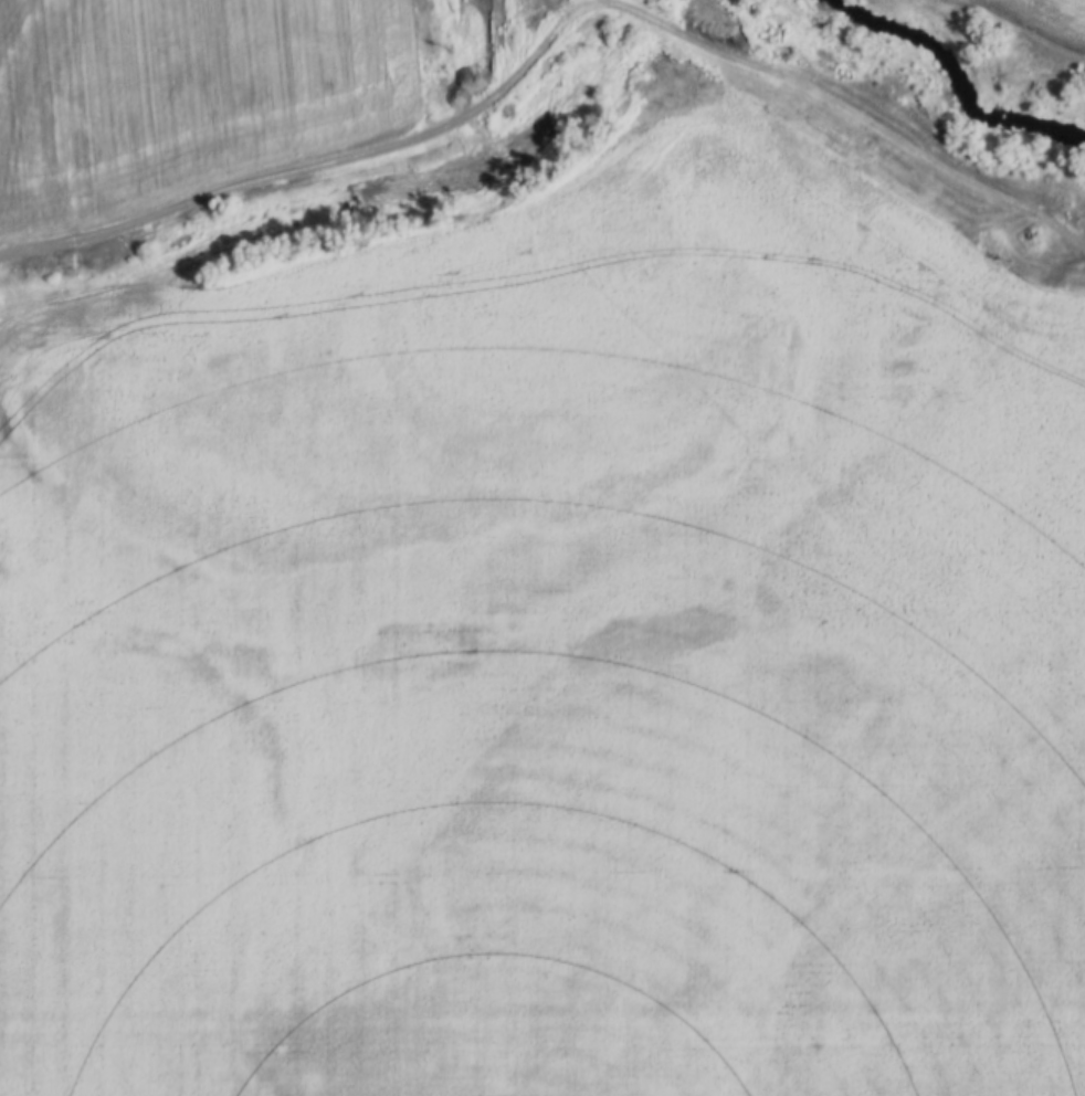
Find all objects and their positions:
road: (309, 164)
road: (727, 265)
road: (653, 633)
road: (257, 760)

